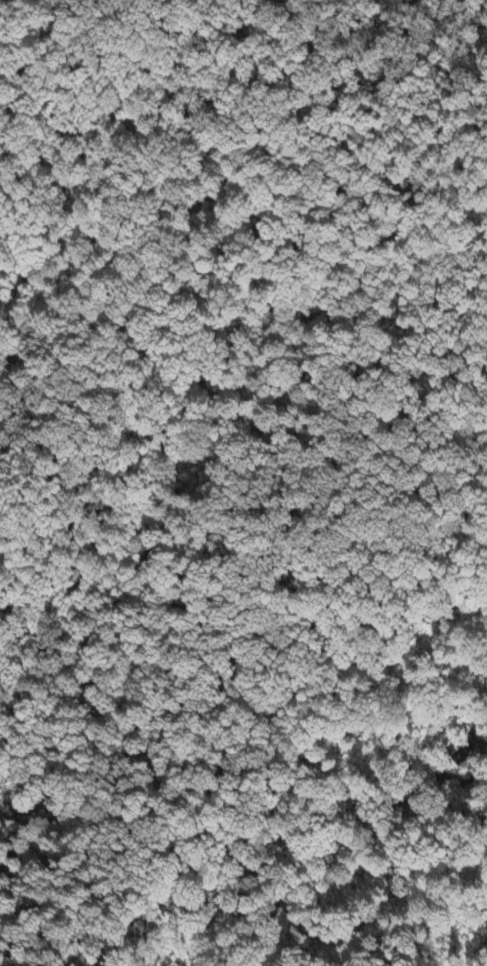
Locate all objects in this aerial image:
park: (244, 483)

